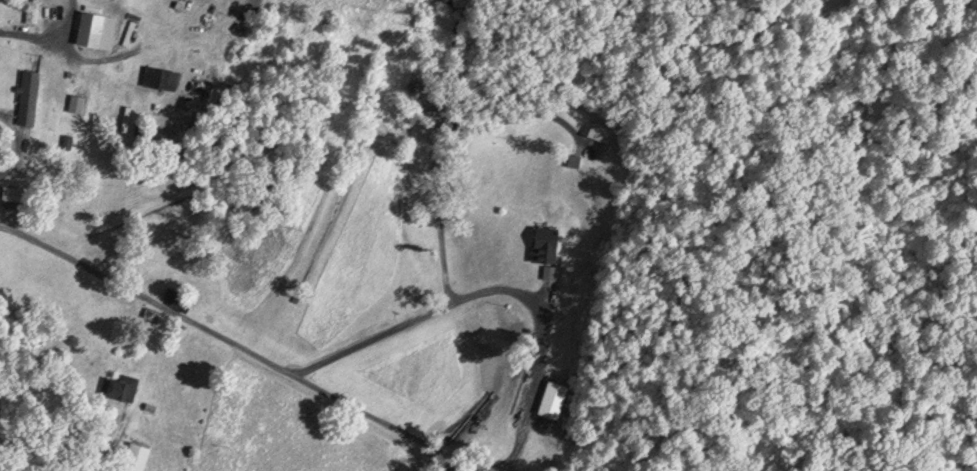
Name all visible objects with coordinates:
building: (34, 10)
building: (98, 26)
building: (161, 75)
building: (28, 94)
building: (13, 190)
building: (546, 240)
building: (177, 296)
road: (140, 297)
road: (518, 358)
building: (123, 384)
building: (553, 395)
building: (137, 454)

